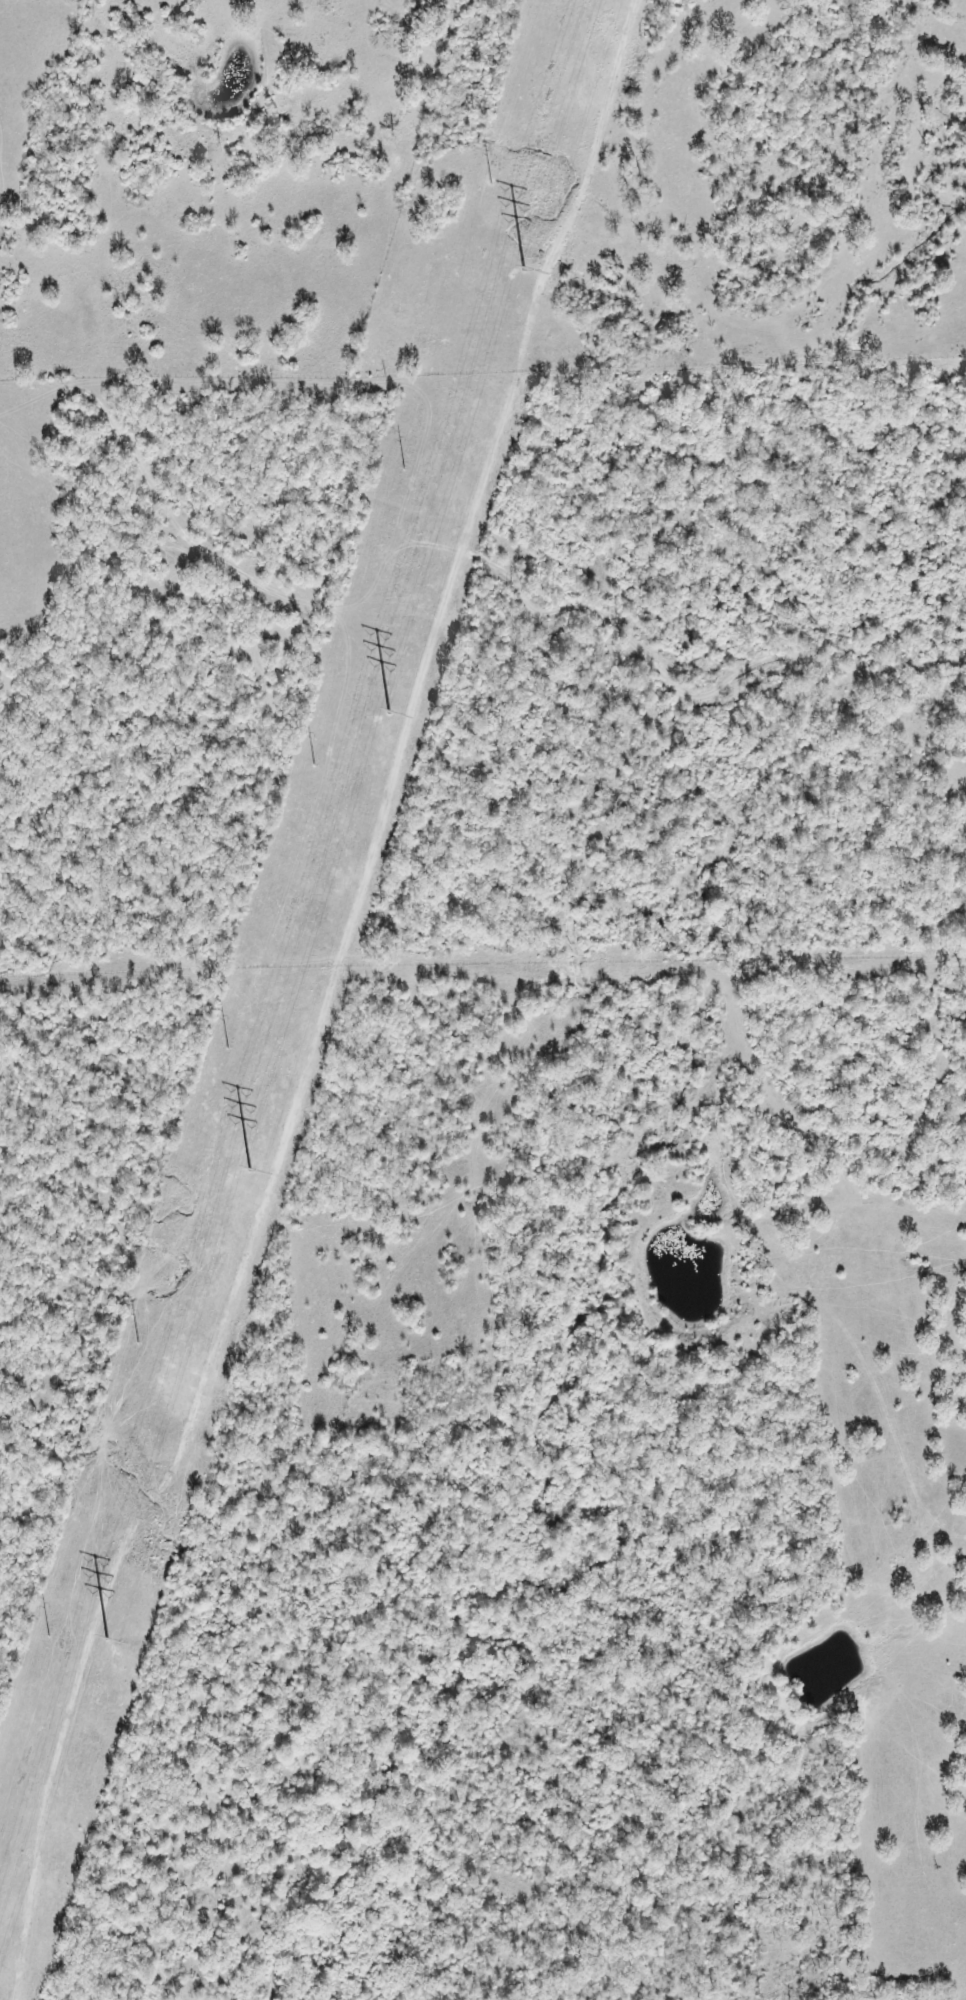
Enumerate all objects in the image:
power tower: (489, 185)
power tower: (402, 472)
power tower: (312, 766)
power tower: (225, 1048)
power tower: (138, 1343)
power tower: (47, 1637)

